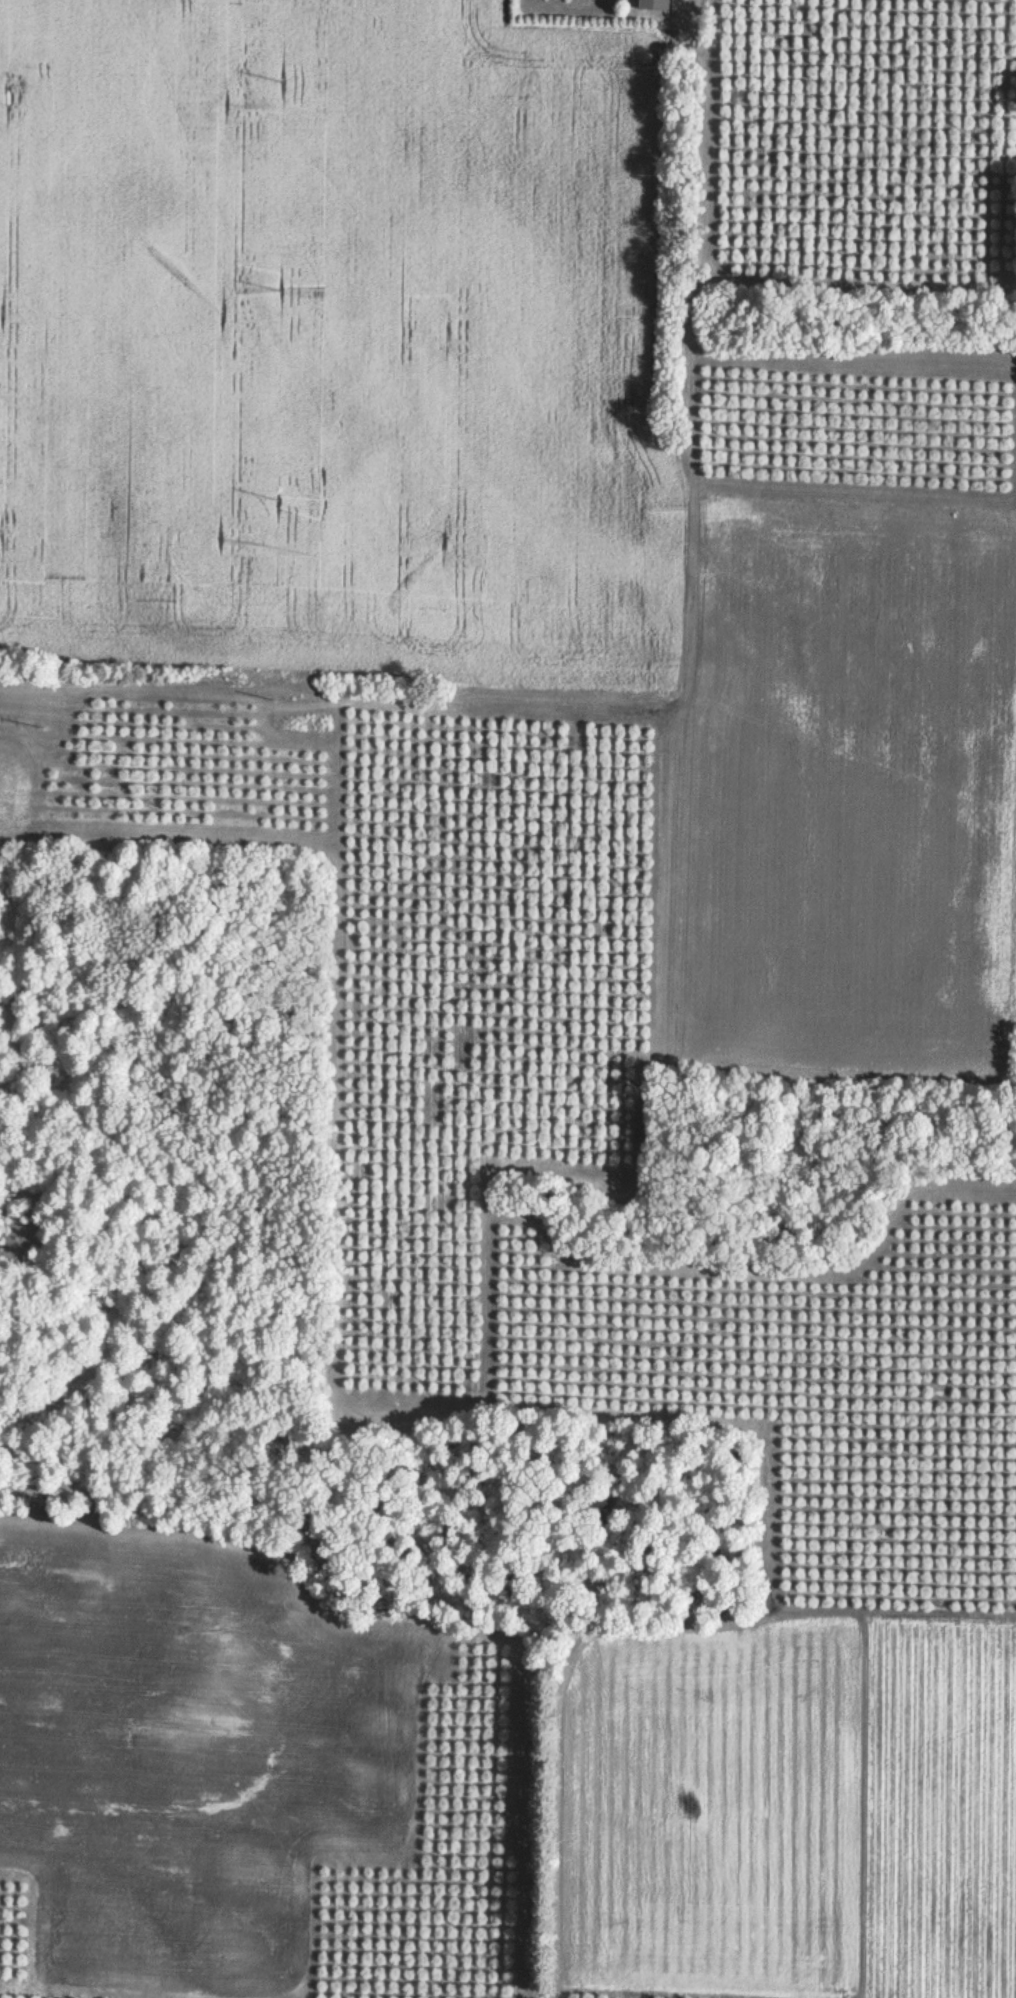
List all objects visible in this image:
building: (649, 5)

